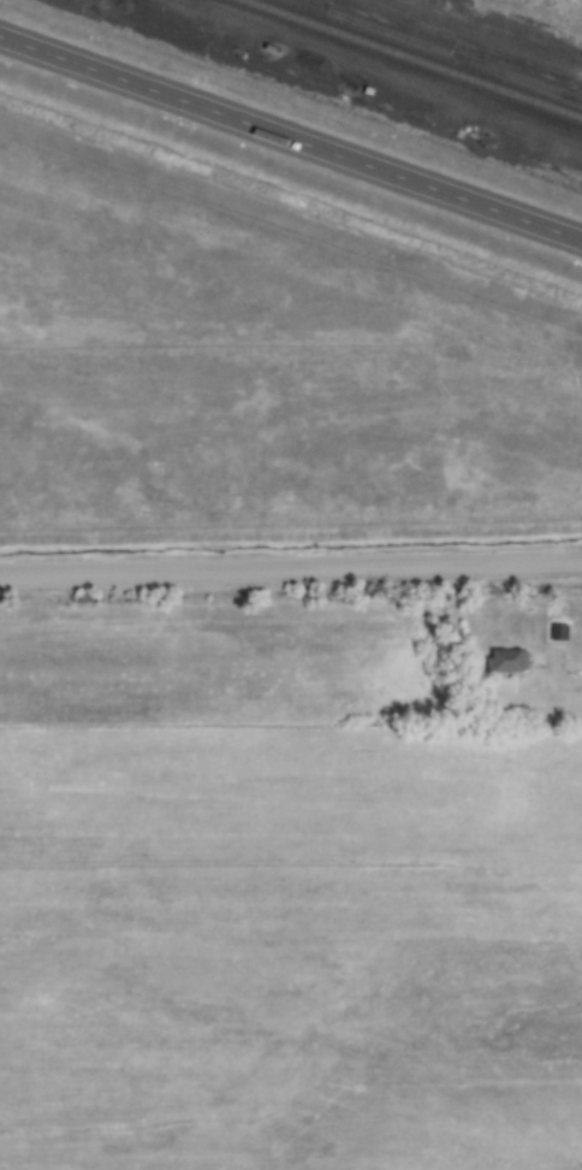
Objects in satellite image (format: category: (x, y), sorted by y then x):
railway: (299, 1)
railway: (438, 49)
railway: (414, 58)
railway: (521, 79)
road: (291, 136)
road: (290, 567)
building: (560, 631)
building: (507, 658)
road: (563, 663)

